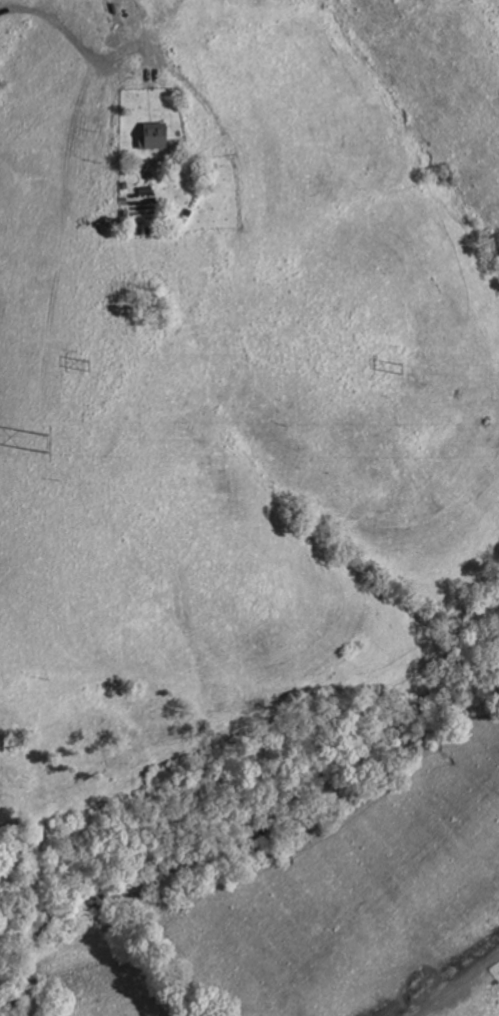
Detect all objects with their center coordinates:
road: (78, 42)
power tower: (79, 362)
power tower: (399, 365)
power tower: (43, 441)

